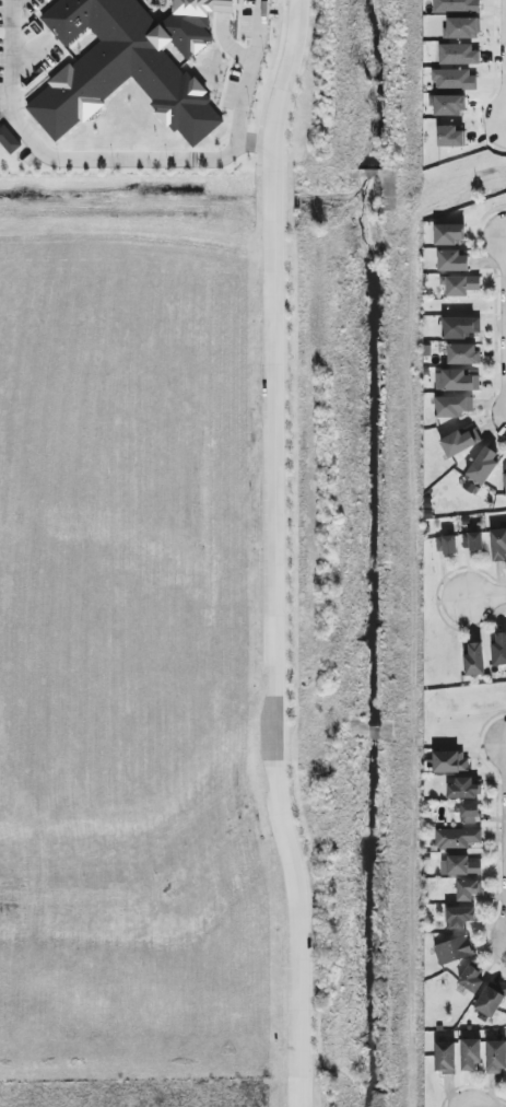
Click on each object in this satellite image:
building: (454, 5)
building: (460, 27)
building: (457, 54)
building: (128, 61)
building: (454, 79)
road: (266, 86)
building: (446, 104)
building: (449, 136)
building: (8, 139)
road: (251, 140)
road: (129, 156)
building: (447, 233)
building: (450, 260)
building: (458, 284)
building: (458, 326)
building: (462, 353)
building: (457, 380)
building: (451, 406)
building: (458, 441)
building: (480, 466)
building: (504, 483)
building: (470, 539)
building: (444, 544)
building: (497, 544)
road: (270, 552)
road: (487, 595)
building: (498, 649)
building: (472, 659)
building: (448, 760)
building: (462, 788)
building: (466, 812)
building: (455, 837)
building: (458, 865)
building: (467, 889)
building: (458, 916)
building: (451, 949)
building: (469, 979)
building: (490, 997)
building: (468, 1053)
building: (444, 1056)
building: (494, 1056)

